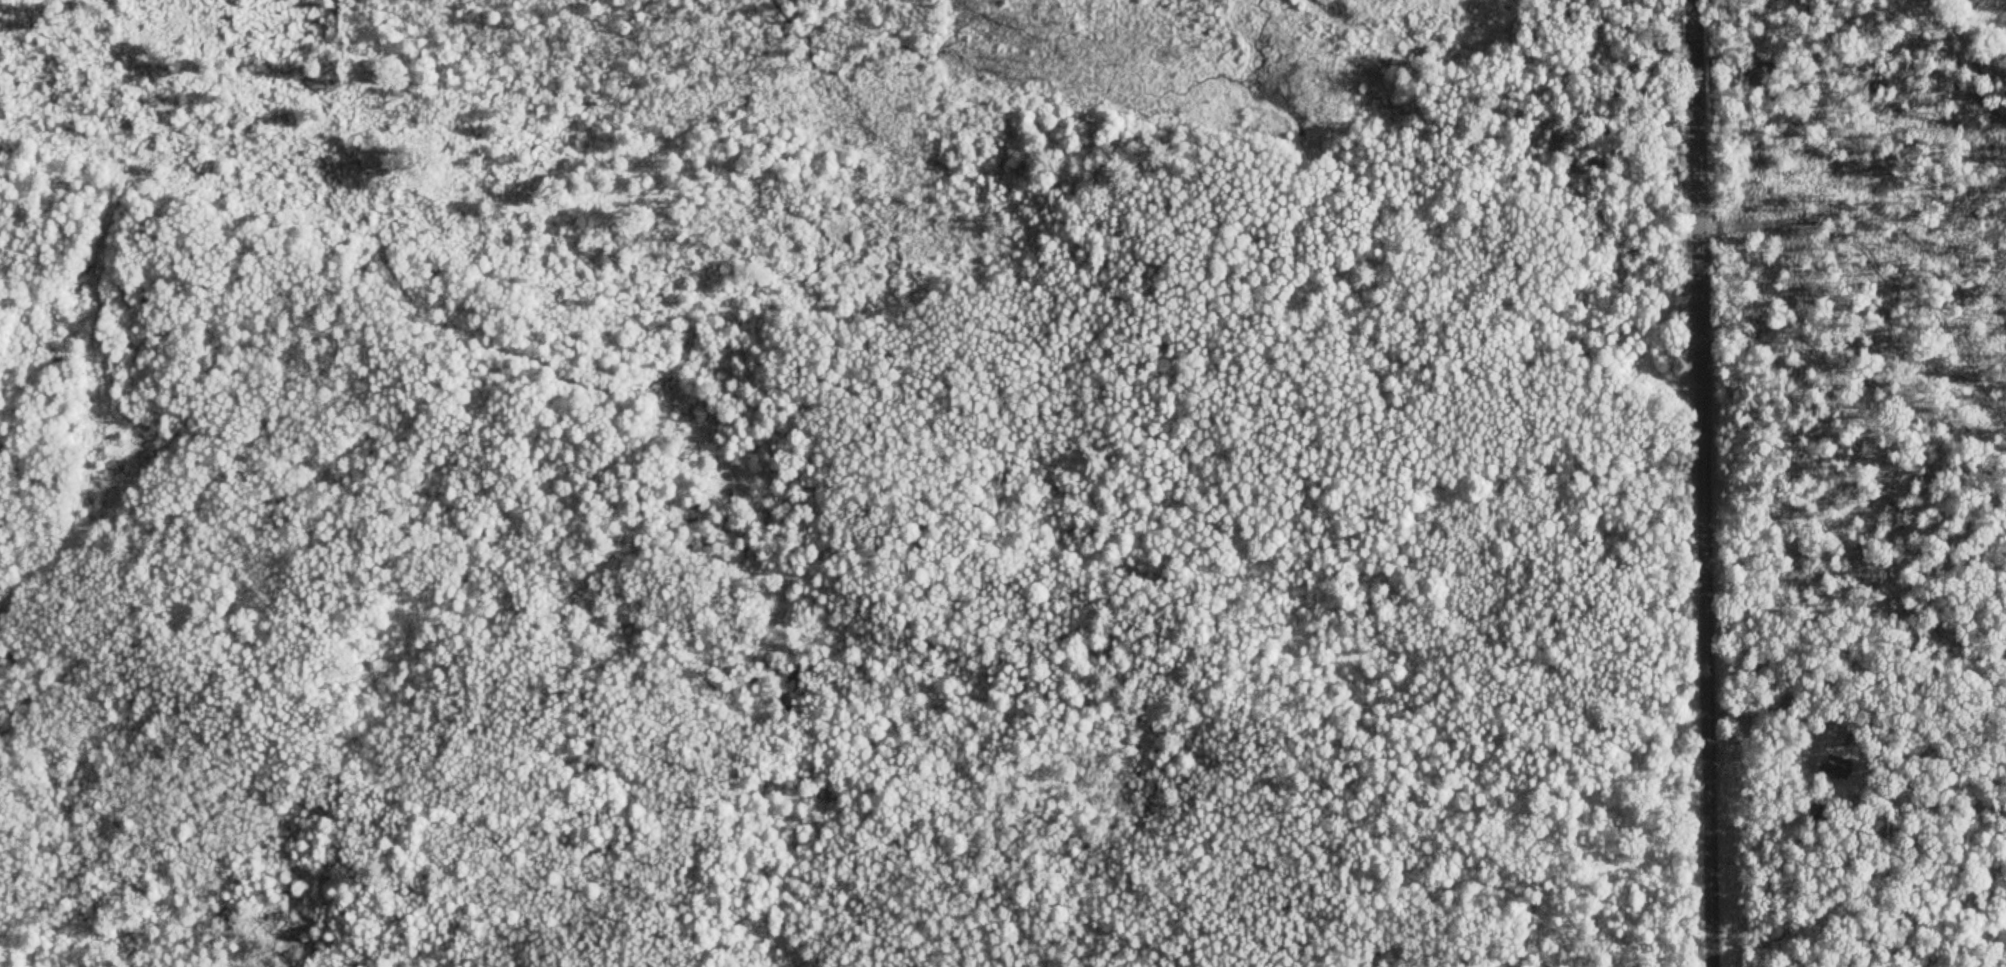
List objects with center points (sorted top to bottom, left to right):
road: (1709, 483)

